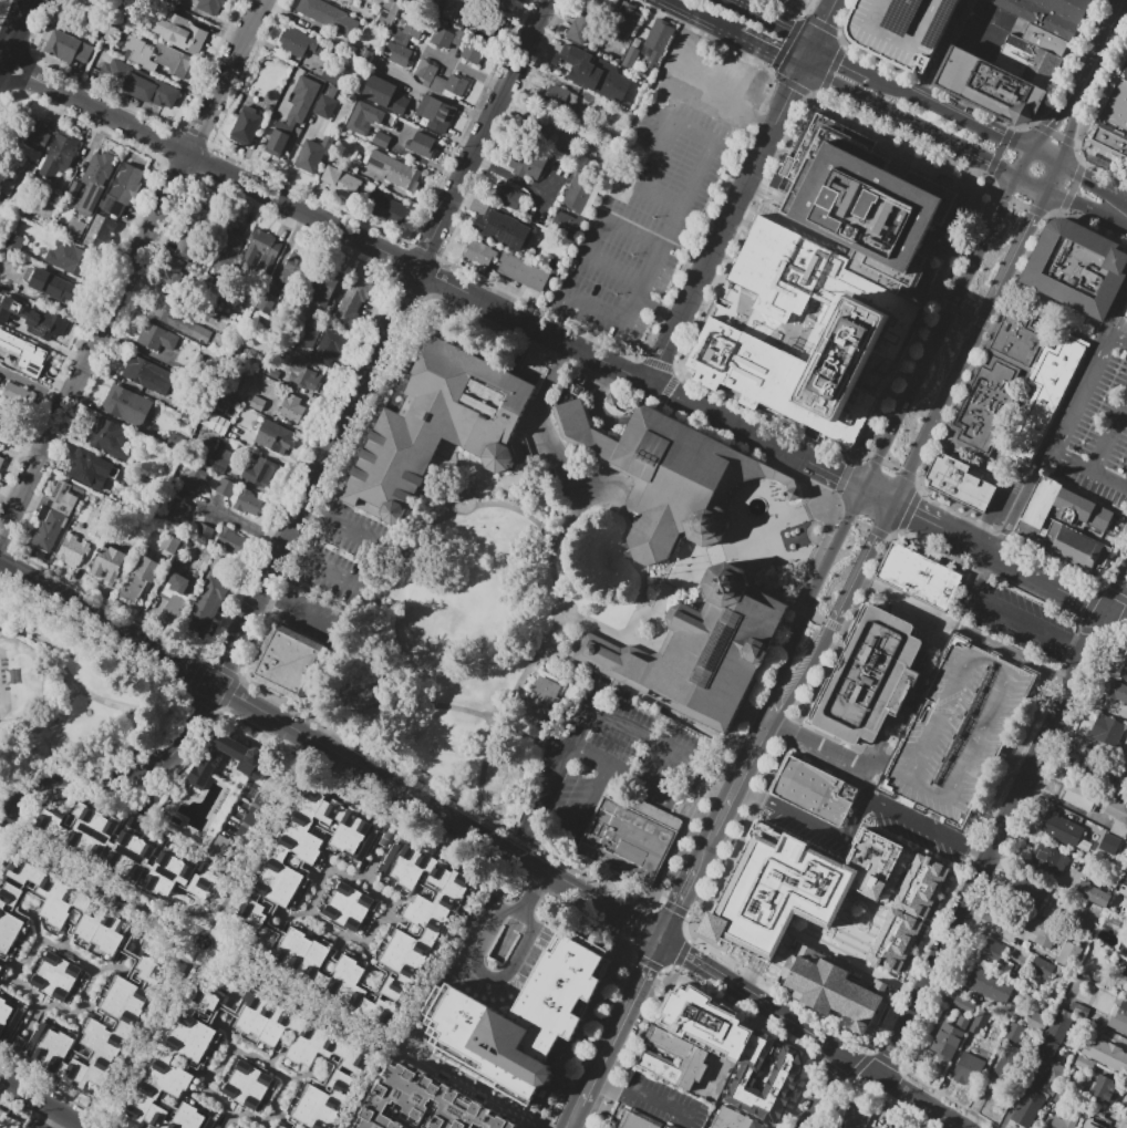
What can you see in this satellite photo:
building: (328, 0)
building: (991, 0)
road: (1117, 2)
road: (1123, 2)
building: (431, 3)
building: (209, 6)
road: (732, 6)
building: (1073, 7)
building: (453, 11)
building: (387, 14)
building: (329, 15)
building: (1045, 17)
road: (694, 18)
building: (624, 21)
road: (823, 22)
traffic signals: (824, 22)
building: (486, 24)
building: (580, 28)
road: (777, 28)
building: (907, 29)
parking garage: (907, 29)
road: (17, 32)
building: (178, 32)
building: (407, 33)
building: (442, 38)
building: (656, 40)
building: (1047, 40)
building: (296, 43)
building: (68, 46)
road: (1098, 50)
road: (765, 51)
road: (949, 51)
building: (139, 53)
building: (471, 53)
traffic signals: (771, 54)
building: (401, 55)
road: (806, 58)
building: (629, 59)
building: (173, 60)
traffic signals: (839, 60)
building: (1030, 61)
road: (844, 62)
building: (1123, 69)
building: (594, 73)
building: (430, 75)
road: (833, 84)
building: (455, 85)
building: (137, 86)
building: (994, 86)
traffic signals: (790, 90)
road: (727, 92)
road: (789, 92)
building: (384, 94)
building: (562, 95)
building: (302, 99)
road: (451, 102)
building: (1115, 104)
building: (324, 106)
building: (435, 113)
road: (951, 115)
building: (363, 117)
road: (903, 121)
road: (1050, 121)
building: (246, 125)
traffic signals: (1046, 126)
road: (1067, 131)
building: (30, 139)
building: (381, 139)
building: (278, 141)
building: (1109, 143)
building: (422, 145)
building: (312, 154)
building: (60, 155)
road: (978, 157)
road: (1043, 158)
building: (524, 162)
traffic signals: (989, 163)
road: (1022, 164)
building: (395, 170)
road: (649, 175)
road: (1052, 178)
traffic signals: (1082, 178)
building: (92, 182)
building: (341, 182)
road: (1032, 183)
road: (1089, 183)
building: (7, 186)
building: (123, 188)
building: (578, 190)
parking lot: (659, 190)
building: (506, 195)
building: (866, 204)
road: (1079, 205)
building: (387, 208)
road: (1120, 213)
road: (1126, 213)
traffic signals: (1036, 214)
building: (565, 225)
building: (75, 228)
building: (502, 229)
road: (631, 229)
building: (99, 232)
road: (666, 241)
building: (14, 242)
building: (182, 248)
road: (712, 249)
building: (262, 251)
building: (227, 252)
building: (480, 253)
building: (62, 262)
road: (131, 263)
road: (612, 267)
building: (293, 268)
building: (1077, 268)
building: (523, 272)
road: (434, 277)
building: (46, 286)
building: (318, 288)
building: (266, 302)
building: (351, 302)
road: (1055, 308)
building: (1125, 310)
road: (658, 311)
road: (969, 315)
building: (32, 317)
building: (177, 318)
road: (943, 333)
building: (1015, 334)
building: (308, 335)
building: (158, 338)
road: (1118, 338)
building: (9, 341)
road: (384, 342)
building: (865, 342)
road: (970, 346)
building: (329, 348)
building: (33, 358)
road: (534, 358)
building: (271, 372)
building: (149, 375)
building: (306, 375)
building: (14, 392)
road: (383, 393)
building: (1045, 395)
building: (258, 403)
road: (596, 404)
building: (126, 405)
building: (985, 405)
building: (297, 408)
building: (186, 411)
building: (2, 418)
building: (214, 422)
road: (558, 422)
road: (1065, 426)
building: (437, 427)
building: (235, 430)
parking lot: (1098, 431)
building: (273, 435)
road: (1110, 436)
building: (112, 438)
road: (554, 442)
traffic signals: (883, 457)
building: (1, 460)
building: (87, 464)
building: (219, 465)
road: (1088, 469)
building: (265, 473)
road: (454, 473)
building: (671, 476)
traffic signals: (839, 476)
building: (193, 477)
building: (960, 483)
road: (499, 484)
building: (225, 487)
road: (511, 495)
road: (833, 497)
road: (881, 497)
building: (62, 498)
building: (247, 501)
fountain: (761, 507)
building: (1036, 507)
building: (1079, 509)
building: (177, 511)
road: (517, 513)
traffic signals: (913, 513)
road: (914, 513)
road: (624, 517)
road: (244, 524)
building: (97, 525)
building: (50, 530)
road: (361, 534)
building: (204, 535)
traffic signals: (880, 538)
building: (230, 539)
road: (790, 539)
road: (317, 540)
building: (169, 544)
building: (1074, 548)
building: (73, 551)
road: (824, 556)
parking lot: (337, 557)
building: (108, 563)
road: (866, 565)
road: (319, 567)
road: (1022, 567)
road: (985, 568)
road: (4, 571)
road: (639, 571)
building: (920, 577)
road: (673, 579)
building: (138, 582)
building: (179, 589)
road: (778, 592)
road: (1117, 592)
road: (816, 596)
road: (907, 603)
building: (207, 607)
park: (484, 615)
road: (1118, 615)
road: (1012, 620)
parking lot: (1020, 622)
road: (374, 625)
road: (655, 642)
building: (703, 650)
road: (1078, 652)
road: (1015, 654)
building: (287, 660)
road: (530, 666)
building: (1010, 673)
building: (1124, 673)
road: (809, 676)
building: (872, 676)
building: (617, 686)
building: (1118, 693)
park: (73, 694)
road: (93, 696)
building: (918, 697)
building: (545, 703)
road: (774, 711)
road: (478, 716)
road: (281, 724)
road: (190, 726)
road: (583, 727)
road: (707, 732)
building: (1110, 732)
road: (58, 733)
parking lot: (958, 733)
road: (830, 749)
building: (225, 760)
road: (753, 760)
building: (1088, 760)
parking lot: (598, 767)
road: (632, 780)
road: (68, 784)
road: (271, 791)
building: (817, 791)
road: (711, 794)
building: (1078, 796)
building: (1117, 809)
road: (582, 817)
road: (916, 818)
road: (723, 822)
road: (816, 827)
road: (3, 828)
building: (1064, 830)
road: (266, 831)
building: (385, 837)
building: (627, 841)
road: (994, 842)
building: (1109, 845)
parking lot: (919, 848)
building: (130, 851)
building: (304, 856)
road: (706, 856)
building: (1052, 860)
road: (90, 877)
building: (1125, 878)
road: (535, 887)
building: (1025, 891)
building: (1093, 894)
road: (680, 904)
building: (868, 905)
building: (350, 908)
building: (783, 908)
road: (616, 913)
building: (59, 914)
building: (1090, 917)
building: (420, 919)
building: (908, 920)
road: (477, 923)
road: (213, 927)
road: (184, 930)
road: (510, 930)
building: (1041, 931)
road: (213, 936)
traffic signals: (665, 941)
road: (446, 948)
building: (991, 949)
building: (1124, 949)
road: (225, 953)
building: (1069, 953)
building: (132, 954)
parking lot: (500, 954)
road: (195, 958)
road: (226, 969)
building: (316, 969)
building: (1043, 969)
building: (3, 971)
building: (1125, 971)
building: (56, 975)
road: (486, 976)
building: (1099, 976)
building: (989, 985)
building: (836, 987)
building: (964, 1005)
building: (1119, 1017)
building: (520, 1018)
building: (980, 1020)
building: (1037, 1021)
road: (621, 1022)
building: (704, 1022)
building: (1058, 1025)
building: (84, 1028)
building: (1015, 1033)
road: (814, 1035)
building: (948, 1039)
road: (389, 1045)
road: (145, 1046)
building: (1046, 1051)
building: (1106, 1054)
building: (693, 1056)
building: (306, 1059)
building: (1084, 1064)
building: (1011, 1065)
building: (968, 1070)
building: (176, 1072)
building: (763, 1075)
building: (1054, 1078)
road: (2, 1084)
building: (249, 1084)
road: (607, 1087)
road: (369, 1088)
road: (825, 1090)
building: (1105, 1093)
parking lot: (664, 1100)
road: (44, 1103)
building: (425, 1104)
building: (1027, 1108)
road: (660, 1110)
road: (577, 1117)
building: (857, 1117)
building: (728, 1119)
building: (638, 1120)
building: (8, 1121)
building: (1063, 1121)
building: (1093, 1124)
building: (753, 1125)
road: (577, 1126)
building: (281, 1127)
building: (285, 1127)

